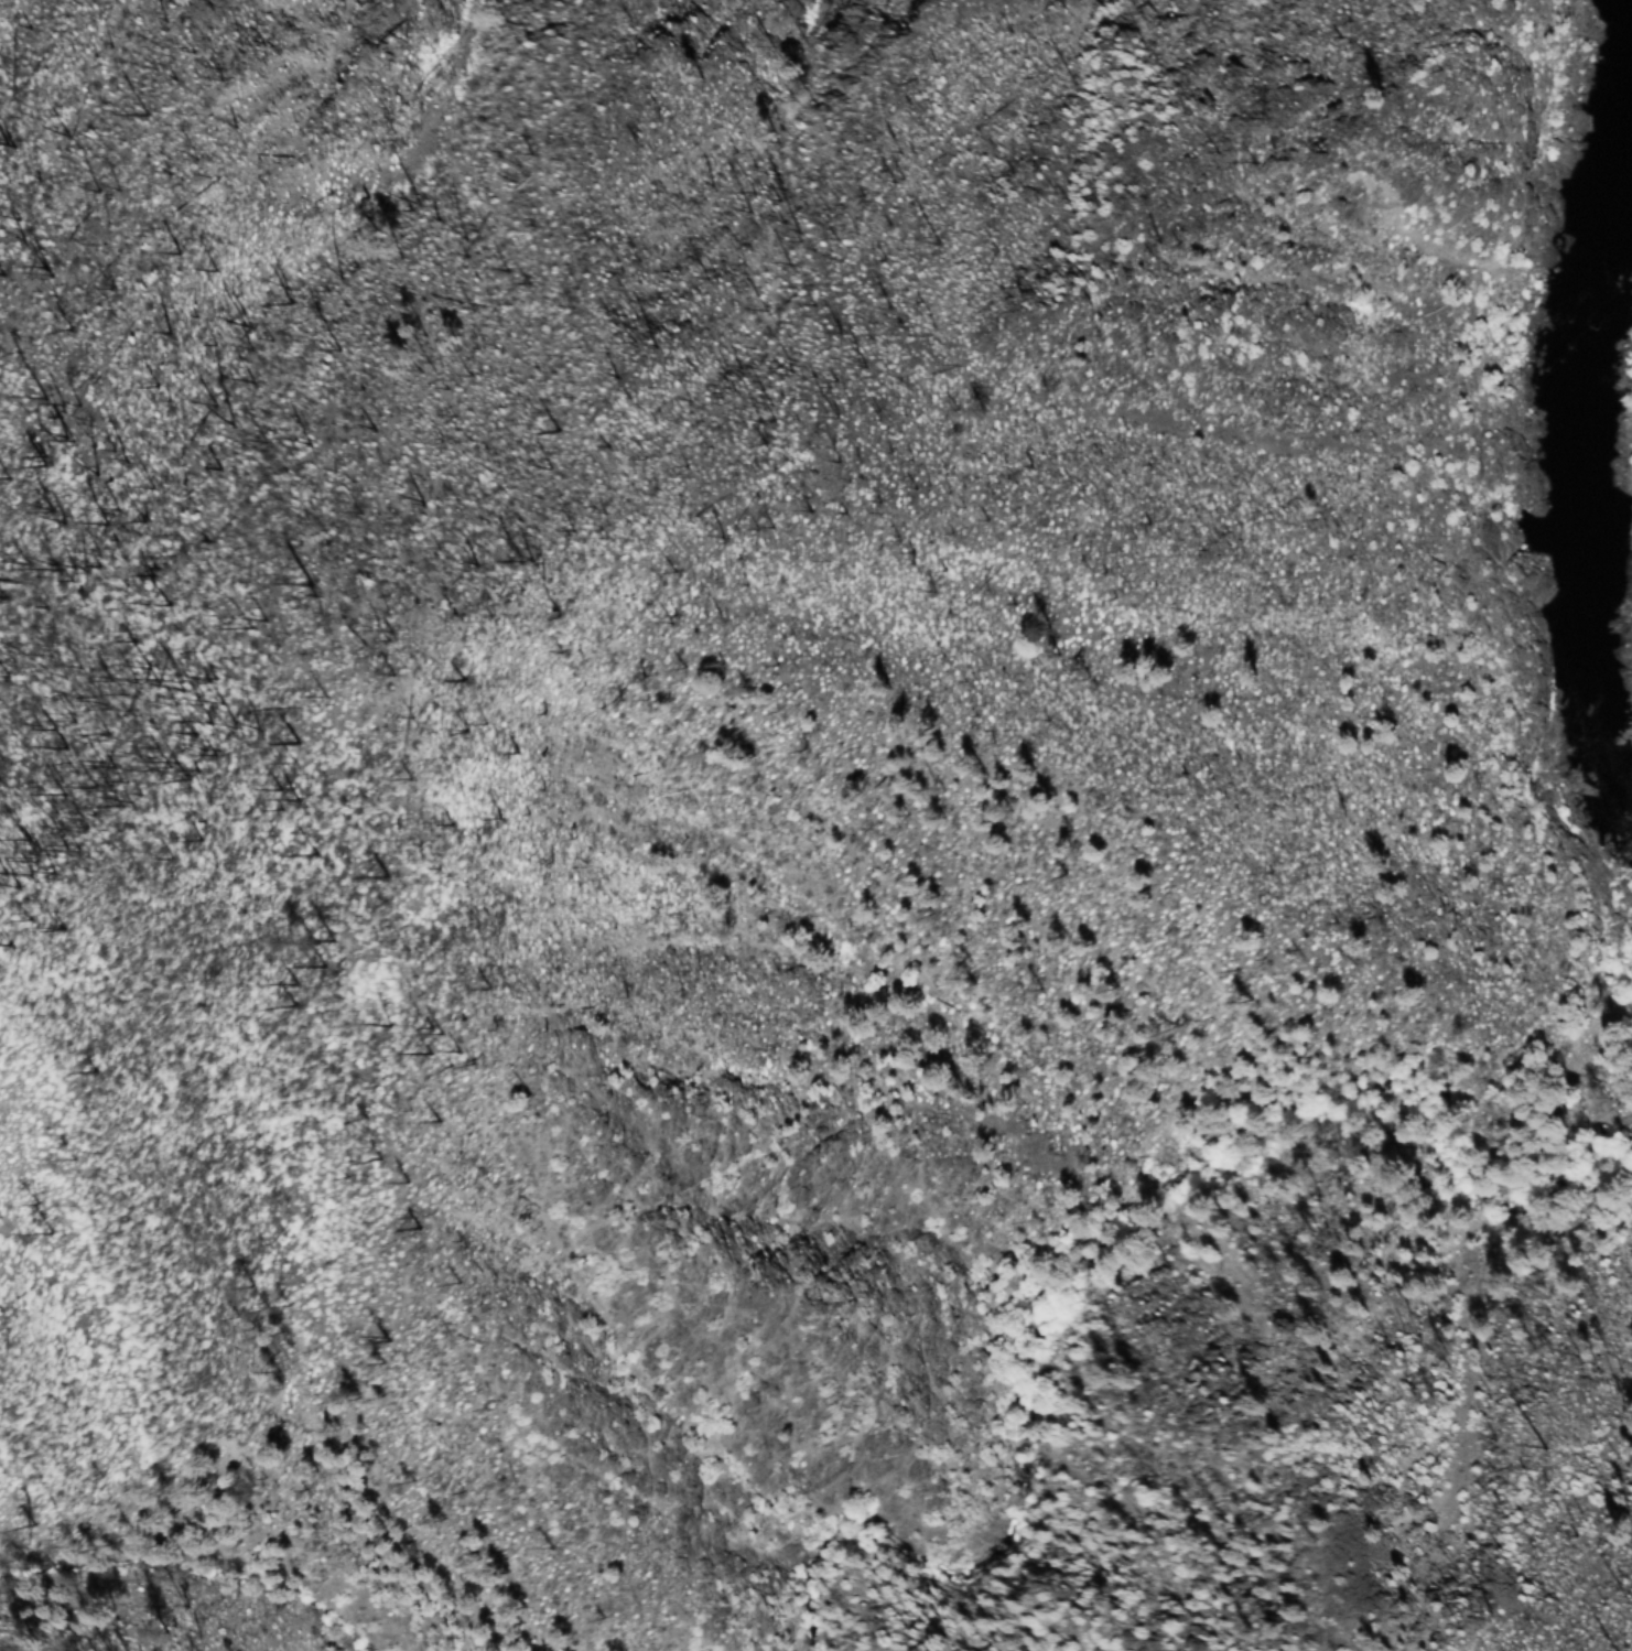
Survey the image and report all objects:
river: (1553, 500)

